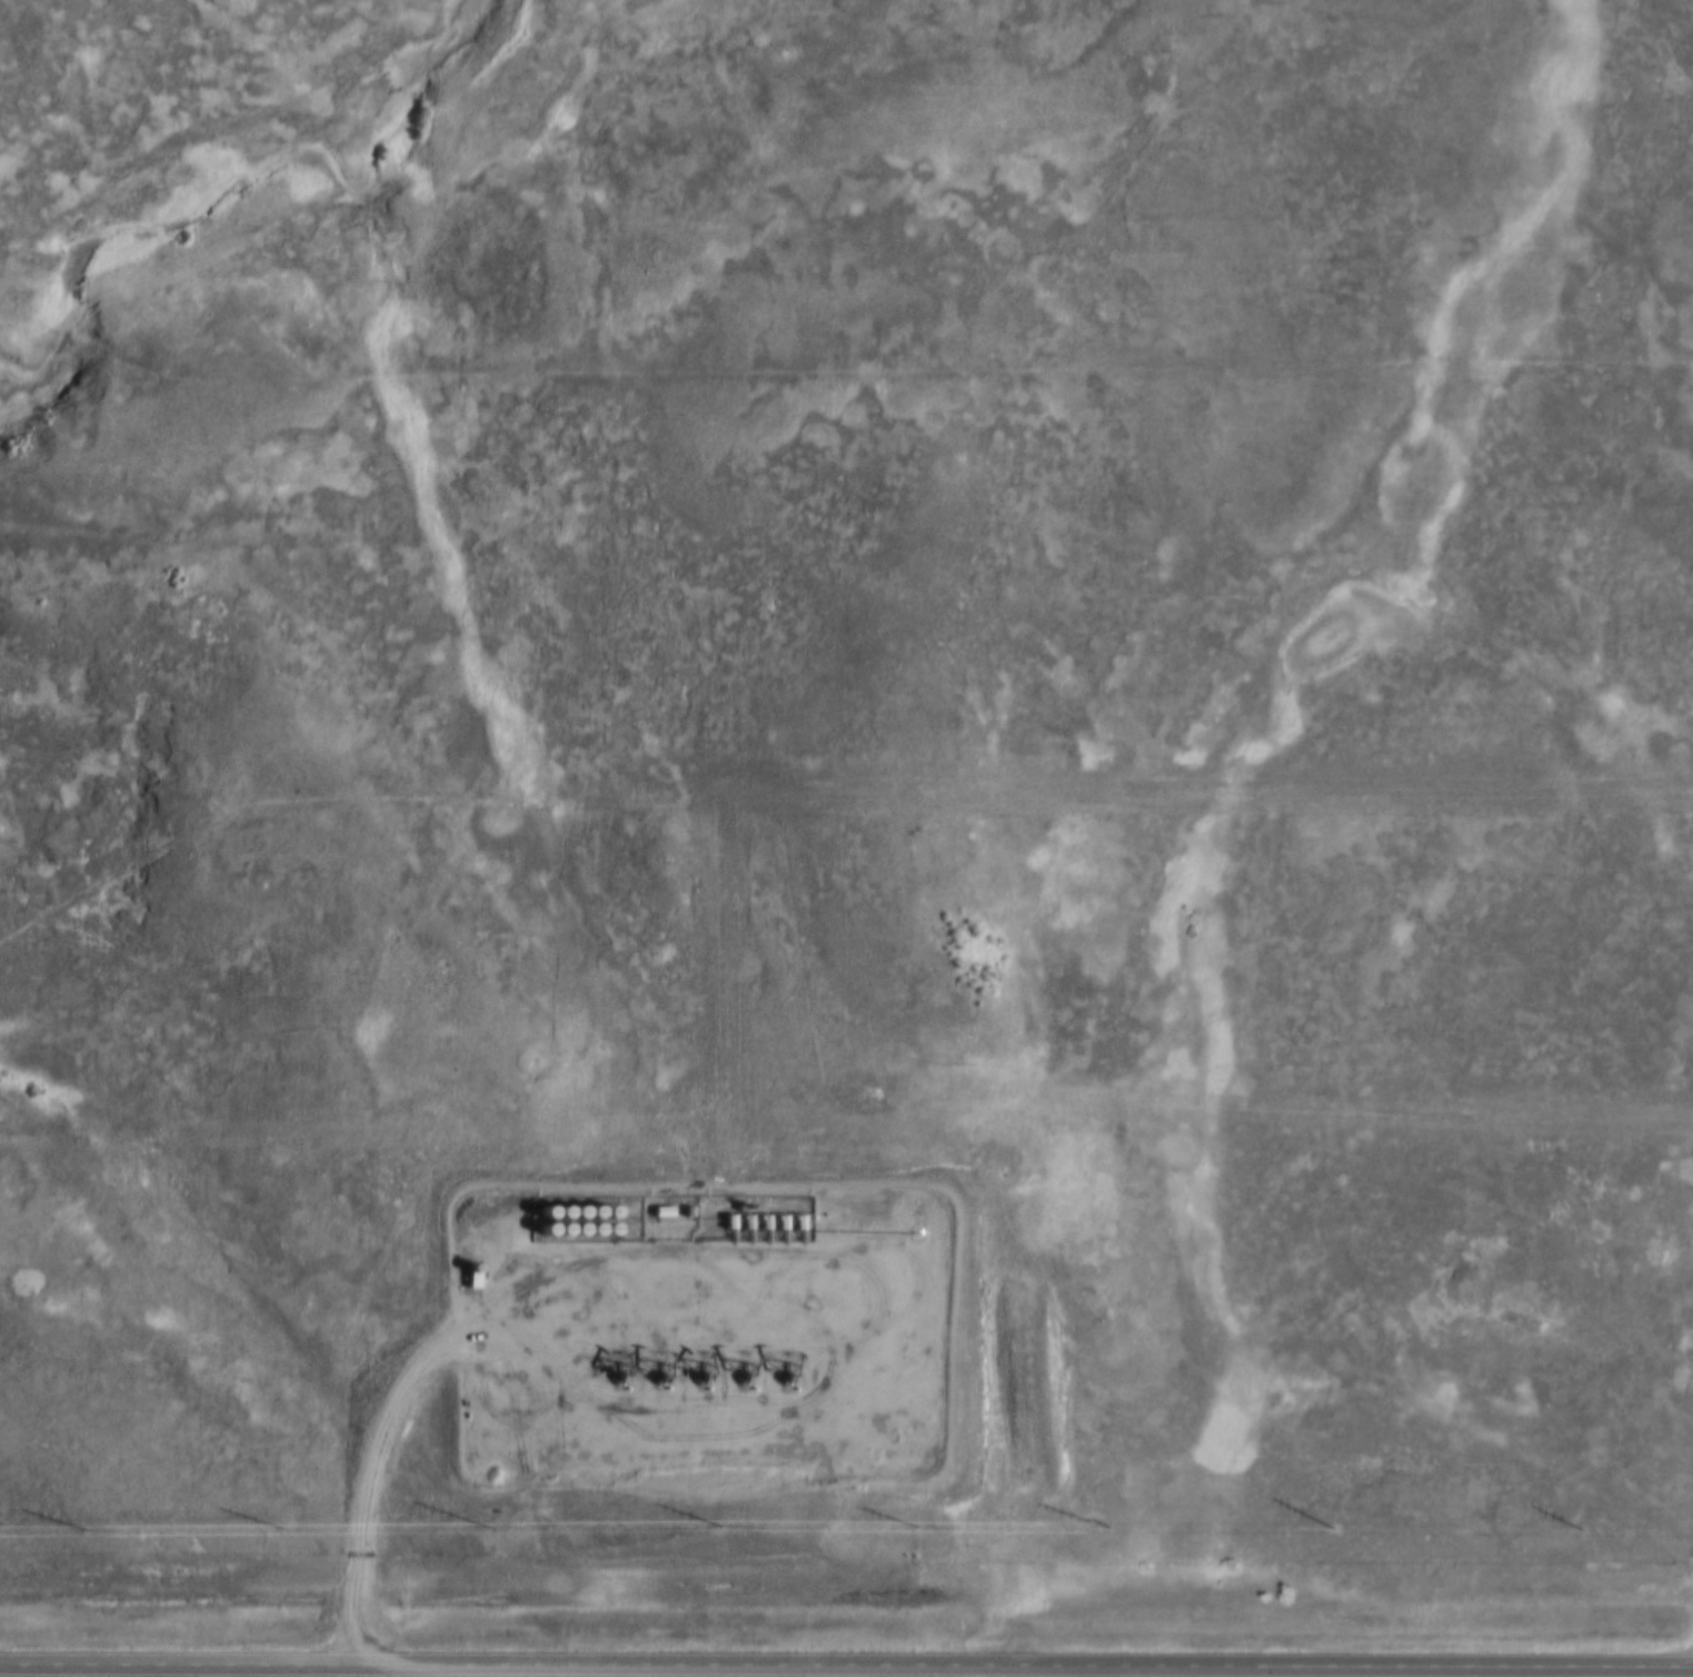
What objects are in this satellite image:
road: (846, 1669)
road: (1104, 1670)

